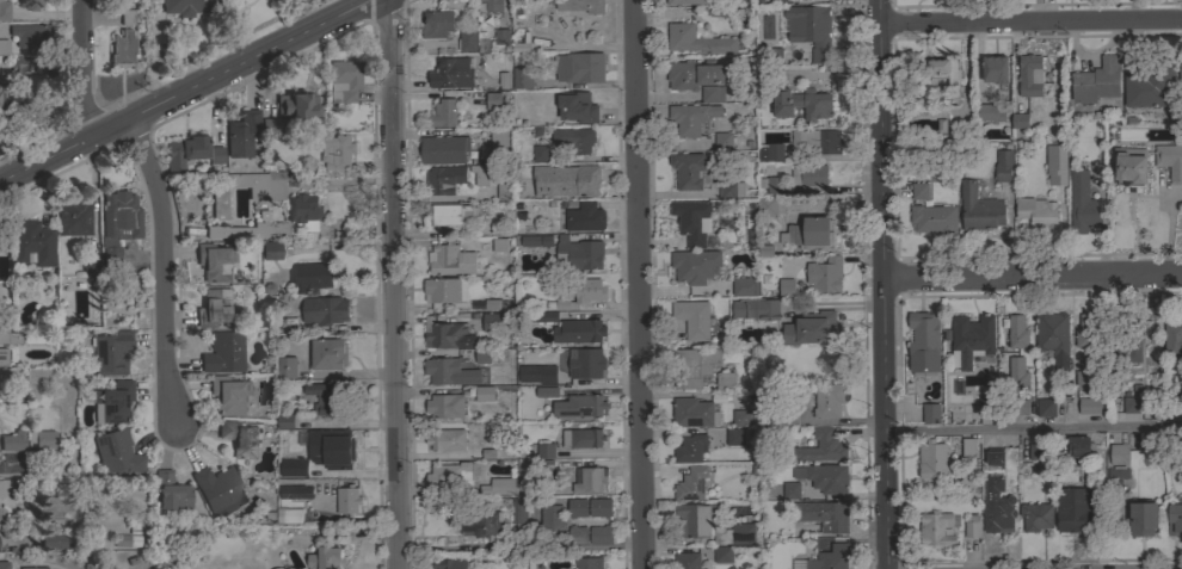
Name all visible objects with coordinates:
building: (777, 0)
building: (685, 1)
building: (29, 4)
building: (189, 6)
building: (488, 6)
building: (580, 6)
building: (4, 11)
building: (127, 17)
road: (1032, 19)
building: (436, 24)
building: (814, 31)
building: (29, 36)
building: (500, 36)
building: (467, 41)
building: (698, 41)
building: (519, 42)
building: (4, 47)
building: (122, 49)
building: (18, 63)
building: (579, 68)
building: (995, 69)
road: (79, 70)
building: (451, 73)
building: (694, 74)
building: (938, 75)
building: (1028, 76)
building: (522, 78)
building: (1181, 79)
building: (344, 80)
building: (503, 80)
building: (1096, 81)
building: (1150, 87)
building: (1, 91)
road: (186, 92)
building: (712, 94)
building: (493, 100)
building: (801, 104)
building: (293, 105)
building: (575, 106)
building: (991, 112)
building: (443, 113)
building: (691, 118)
building: (936, 120)
building: (1018, 120)
building: (272, 125)
building: (241, 132)
building: (574, 140)
building: (820, 140)
building: (724, 141)
building: (499, 146)
building: (444, 149)
building: (334, 150)
building: (184, 151)
building: (770, 151)
building: (215, 154)
building: (540, 154)
building: (1170, 161)
building: (1055, 165)
building: (1003, 166)
building: (1129, 167)
building: (689, 169)
building: (481, 174)
building: (808, 178)
building: (443, 179)
building: (565, 181)
building: (771, 184)
building: (731, 190)
building: (503, 191)
building: (919, 191)
building: (300, 204)
building: (1082, 204)
building: (765, 206)
building: (979, 209)
building: (1038, 212)
building: (447, 215)
building: (72, 216)
building: (584, 217)
building: (932, 218)
building: (690, 221)
building: (117, 223)
building: (811, 234)
building: (530, 241)
building: (4, 242)
building: (31, 243)
building: (498, 245)
building: (270, 251)
building: (577, 253)
building: (450, 259)
building: (90, 260)
building: (214, 261)
building: (694, 266)
road: (166, 267)
building: (824, 274)
road: (1033, 274)
building: (310, 277)
road: (395, 284)
road: (644, 284)
road: (885, 284)
building: (744, 286)
building: (786, 287)
building: (444, 290)
building: (579, 293)
building: (213, 307)
building: (756, 309)
building: (325, 310)
building: (692, 318)
building: (491, 322)
building: (572, 328)
building: (809, 328)
building: (1084, 330)
building: (1016, 332)
building: (443, 334)
building: (2, 336)
building: (1053, 338)
building: (1172, 339)
building: (972, 340)
building: (923, 342)
building: (1125, 345)
building: (110, 352)
building: (223, 352)
building: (328, 353)
building: (2, 355)
building: (481, 355)
building: (585, 363)
building: (695, 365)
building: (287, 367)
building: (829, 367)
building: (449, 372)
building: (537, 373)
building: (1017, 373)
building: (1086, 373)
building: (322, 376)
building: (724, 382)
building: (544, 391)
building: (228, 395)
building: (324, 396)
building: (479, 396)
building: (827, 400)
building: (1133, 400)
building: (112, 402)
building: (444, 406)
building: (585, 406)
building: (985, 406)
building: (1089, 406)
building: (1020, 407)
building: (1045, 408)
building: (691, 412)
building: (930, 414)
building: (745, 418)
building: (786, 418)
building: (284, 421)
road: (1034, 429)
building: (241, 437)
building: (737, 437)
building: (581, 438)
building: (13, 440)
building: (41, 440)
building: (448, 440)
building: (1078, 446)
building: (332, 447)
building: (821, 447)
building: (967, 447)
building: (691, 449)
building: (544, 451)
building: (1036, 451)
building: (115, 453)
building: (1118, 454)
building: (995, 458)
building: (931, 459)
road: (25, 465)
building: (294, 468)
building: (546, 468)
building: (1118, 474)
building: (449, 476)
building: (824, 477)
building: (589, 480)
building: (692, 483)
building: (967, 484)
building: (7, 485)
building: (216, 487)
building: (498, 487)
building: (790, 490)
building: (171, 491)
building: (295, 491)
building: (347, 501)
building: (57, 507)
building: (599, 507)
building: (996, 507)
building: (577, 508)
building: (1072, 509)
building: (285, 515)
building: (825, 515)
building: (519, 517)
building: (1035, 517)
building: (1141, 518)
building: (1174, 518)
building: (552, 521)
building: (482, 525)
building: (710, 525)
building: (971, 526)
building: (935, 528)
building: (577, 536)
building: (601, 536)
building: (54, 539)
building: (127, 540)
building: (503, 550)
building: (722, 555)
building: (830, 557)
building: (326, 558)
building: (687, 561)
building: (449, 563)
building: (589, 563)
building: (4, 565)
building: (32, 568)

